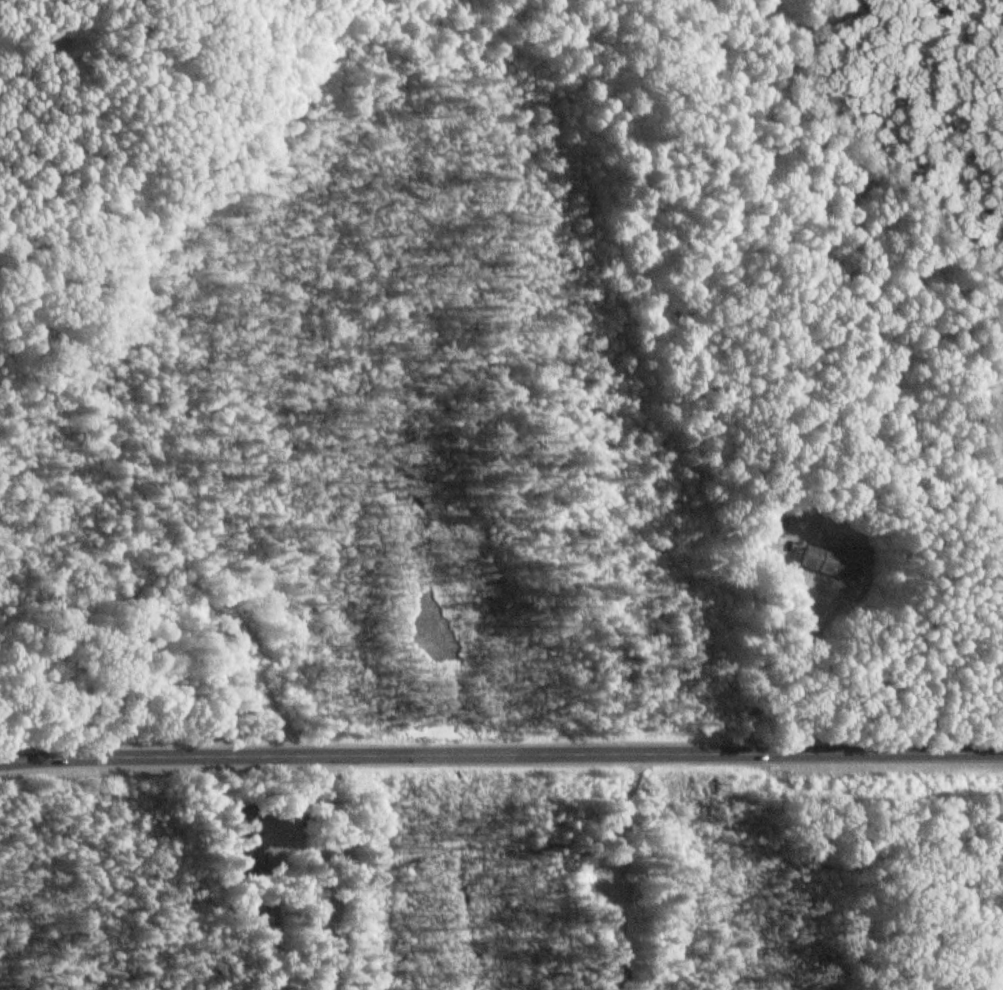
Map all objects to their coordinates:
building: (1000, 395)
building: (775, 526)
building: (829, 565)
road: (783, 579)
road: (784, 668)
road: (501, 754)
road: (267, 875)

